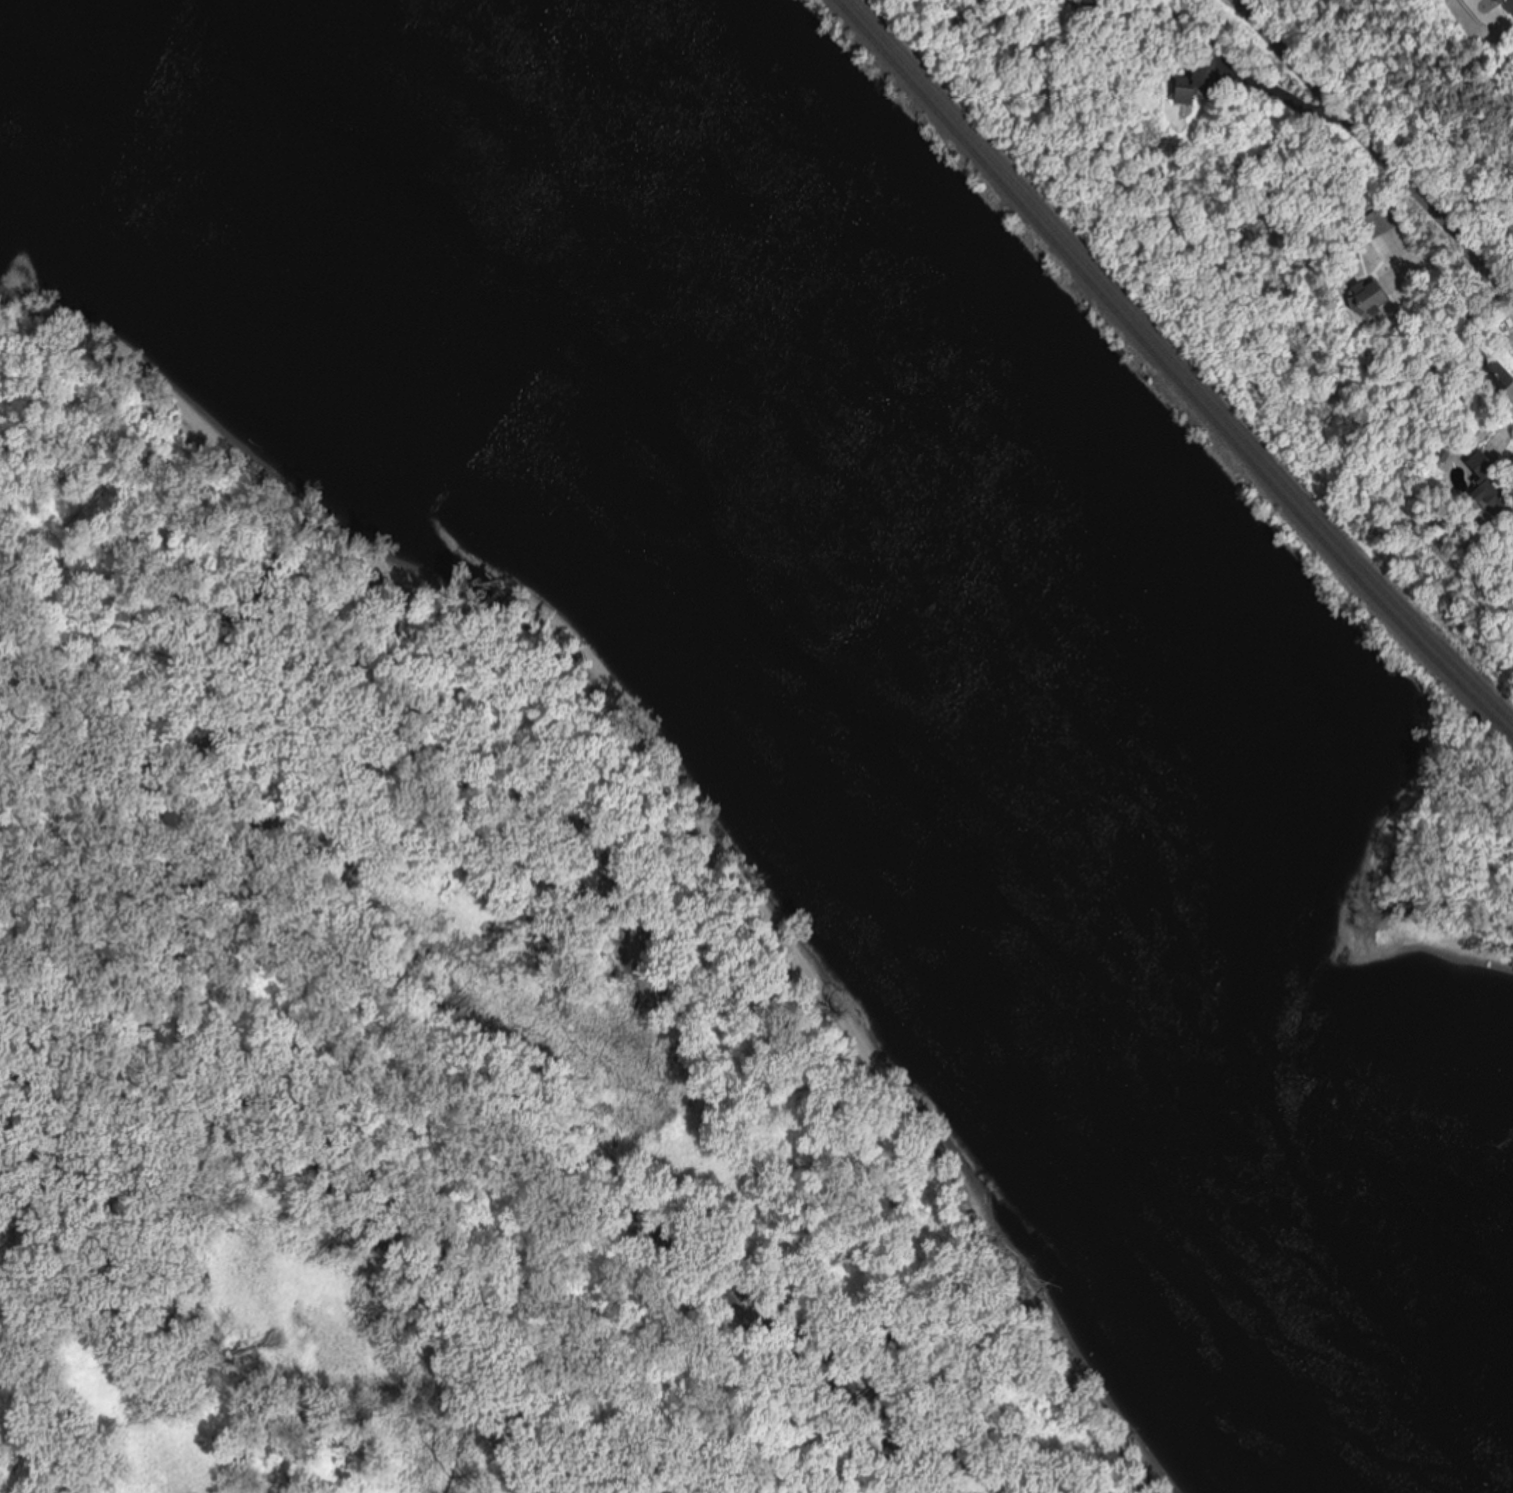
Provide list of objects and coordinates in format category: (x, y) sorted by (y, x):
building: (1511, 1)
building: (1095, 3)
building: (1200, 82)
river: (476, 130)
road: (1373, 145)
building: (1382, 221)
building: (1377, 302)
railway: (1178, 364)
railway: (1171, 371)
building: (1498, 378)
building: (1494, 494)
river: (1045, 792)
river: (566, 1075)

